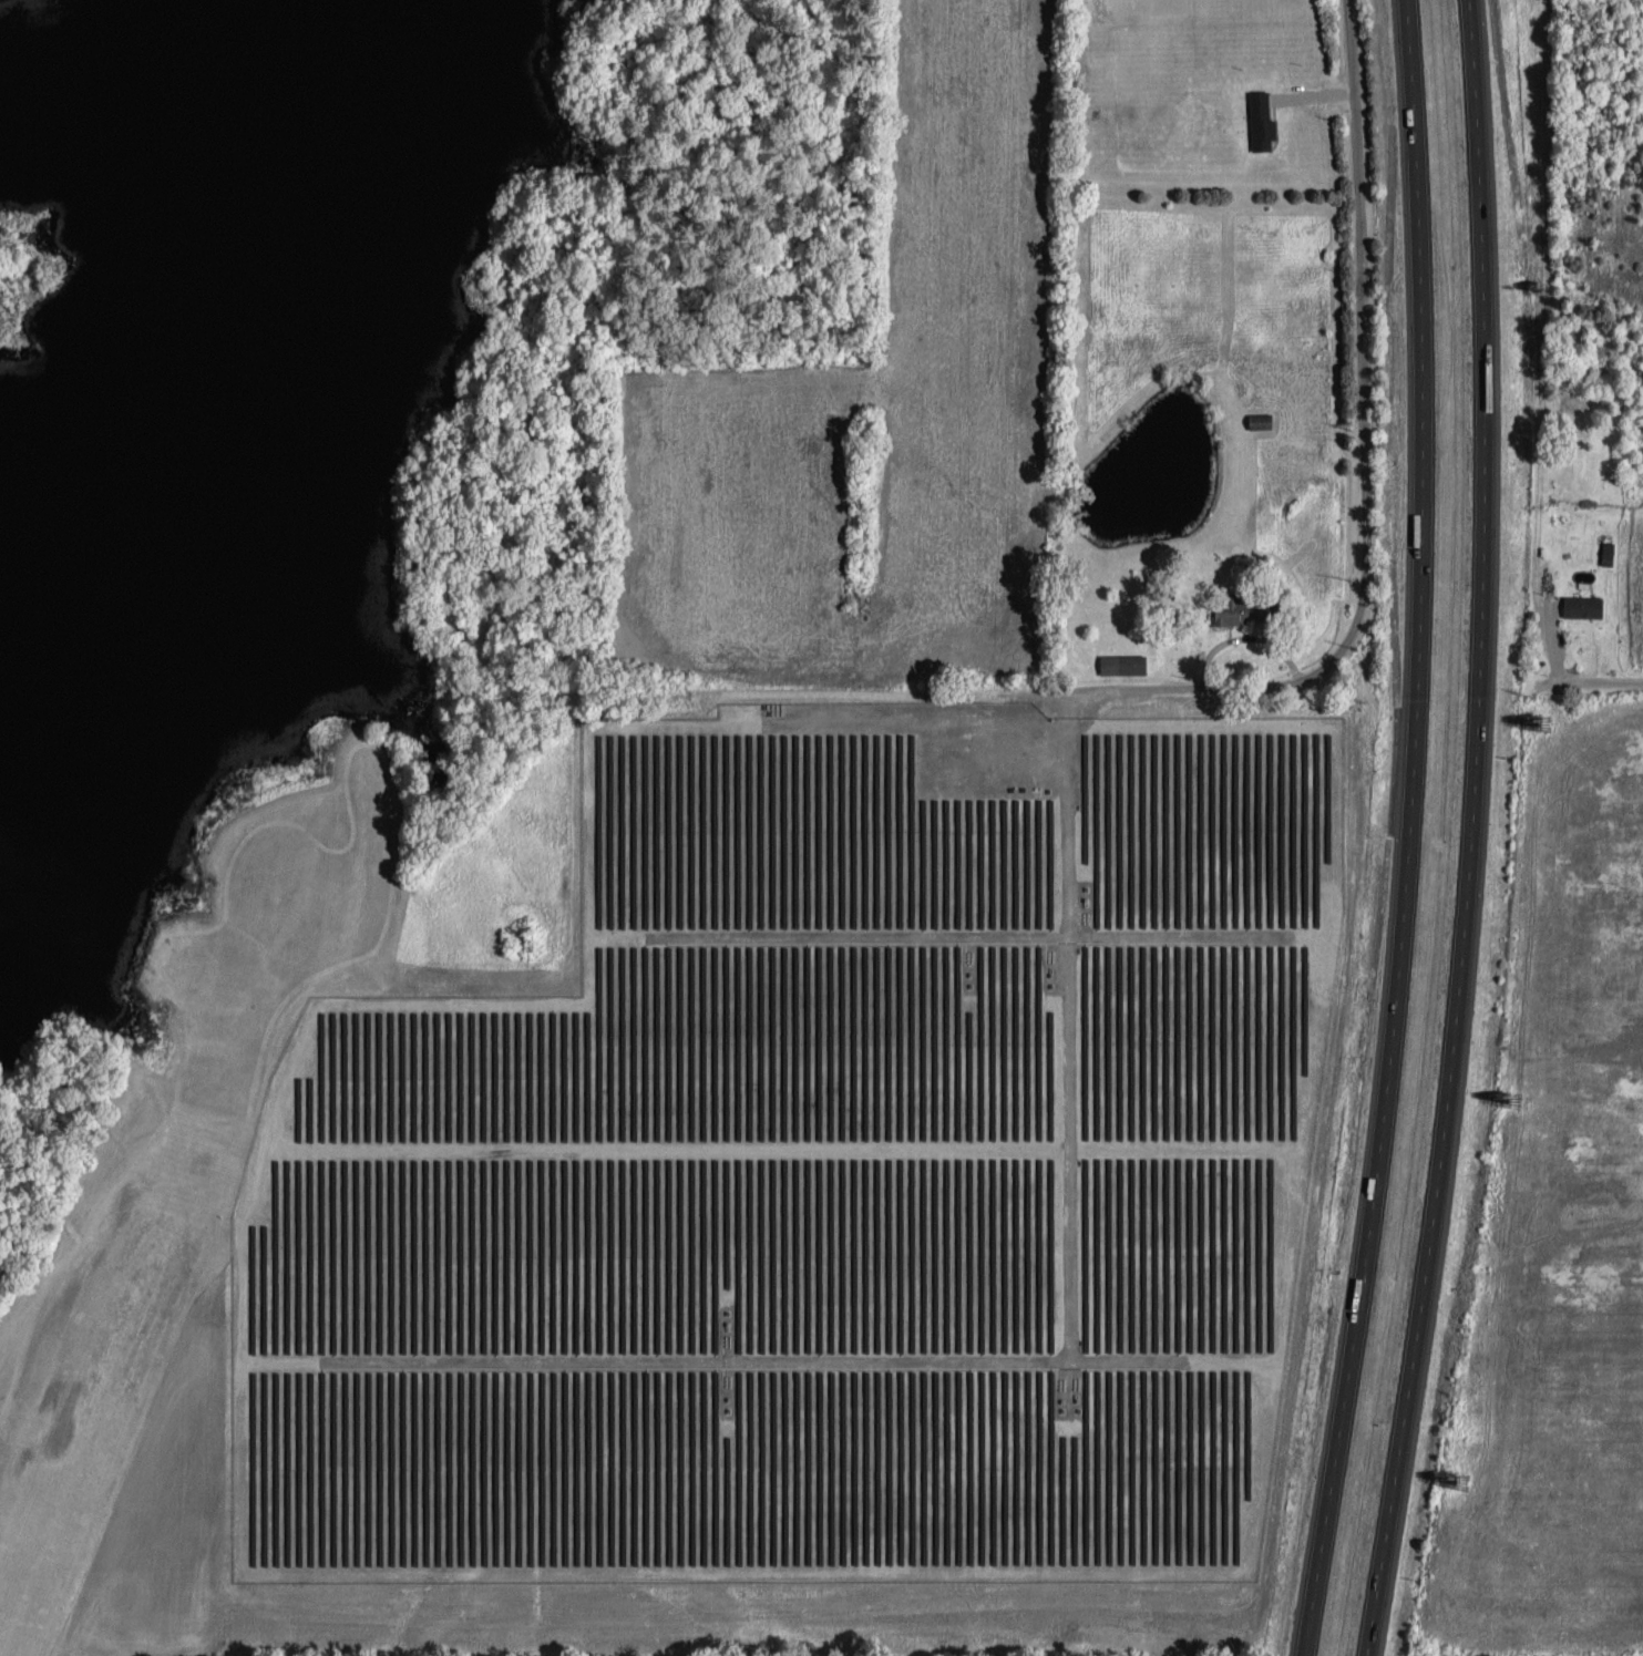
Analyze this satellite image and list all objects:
building: (1261, 120)
building: (1583, 605)
building: (1230, 608)
road: (446, 617)
building: (1125, 662)
road: (1605, 679)
road: (1238, 687)
road: (1408, 831)
road: (1468, 831)
solar farm: (822, 1180)
airport runway: (97, 1398)

